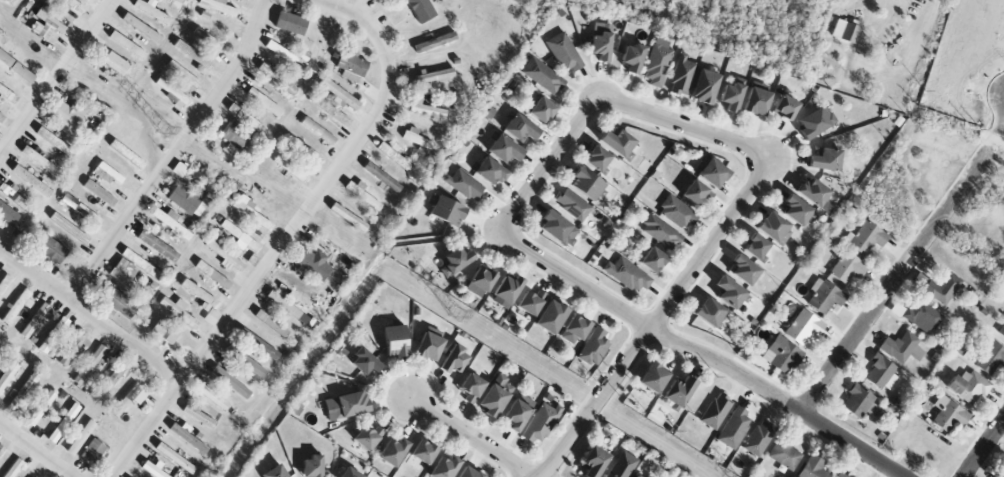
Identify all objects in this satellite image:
building: (376, 0)
building: (10, 1)
building: (74, 6)
building: (217, 6)
building: (152, 12)
road: (361, 19)
building: (45, 22)
building: (289, 23)
building: (140, 27)
building: (846, 30)
building: (206, 39)
building: (121, 41)
building: (433, 42)
building: (598, 45)
building: (563, 52)
building: (284, 55)
building: (193, 56)
building: (631, 57)
building: (657, 62)
building: (115, 63)
building: (350, 67)
building: (183, 75)
building: (542, 76)
road: (56, 77)
building: (431, 77)
building: (681, 77)
building: (703, 86)
building: (172, 92)
building: (8, 95)
building: (731, 95)
building: (339, 96)
road: (605, 100)
building: (754, 101)
building: (264, 102)
building: (783, 107)
building: (425, 109)
building: (540, 109)
building: (67, 115)
building: (241, 115)
building: (1, 117)
building: (814, 121)
road: (1002, 126)
building: (519, 128)
building: (318, 131)
power tower: (165, 133)
building: (234, 139)
building: (416, 139)
building: (55, 143)
building: (615, 143)
building: (503, 150)
building: (304, 151)
building: (126, 154)
road: (175, 154)
building: (395, 156)
building: (595, 158)
building: (823, 159)
building: (290, 169)
building: (489, 171)
building: (710, 173)
building: (106, 174)
building: (382, 177)
building: (31, 181)
building: (584, 183)
building: (463, 185)
building: (811, 191)
building: (695, 192)
building: (99, 193)
building: (363, 196)
building: (17, 201)
building: (189, 203)
building: (572, 205)
building: (81, 208)
building: (794, 209)
building: (249, 210)
building: (446, 211)
building: (676, 212)
building: (7, 215)
building: (347, 217)
building: (171, 223)
building: (68, 228)
building: (555, 228)
building: (772, 228)
building: (660, 232)
building: (865, 238)
building: (156, 246)
building: (753, 246)
building: (50, 249)
building: (224, 255)
building: (651, 259)
building: (454, 260)
building: (313, 264)
building: (847, 268)
building: (741, 269)
road: (263, 272)
building: (626, 275)
building: (126, 278)
building: (480, 279)
road: (895, 280)
building: (3, 283)
building: (942, 288)
building: (505, 291)
building: (726, 291)
building: (824, 297)
building: (118, 302)
building: (528, 302)
building: (282, 304)
building: (16, 307)
building: (177, 311)
building: (707, 312)
road: (90, 316)
building: (921, 316)
power tower: (457, 317)
building: (548, 317)
road: (658, 320)
building: (35, 322)
building: (270, 324)
building: (802, 327)
building: (572, 330)
building: (1001, 330)
building: (165, 332)
building: (55, 334)
building: (392, 341)
building: (428, 343)
building: (260, 347)
building: (593, 347)
building: (901, 347)
building: (73, 349)
road: (700, 355)
building: (780, 355)
building: (989, 358)
building: (452, 359)
building: (244, 361)
building: (363, 361)
building: (89, 365)
building: (878, 372)
building: (7, 374)
building: (651, 378)
building: (229, 380)
building: (110, 381)
building: (966, 386)
building: (470, 387)
building: (24, 391)
building: (677, 391)
building: (494, 395)
building: (212, 397)
building: (128, 400)
building: (859, 403)
building: (344, 405)
building: (40, 408)
building: (517, 411)
building: (715, 411)
building: (197, 414)
building: (947, 414)
building: (540, 423)
building: (60, 427)
building: (733, 428)
building: (186, 436)
building: (366, 437)
building: (80, 438)
building: (758, 438)
road: (470, 439)
building: (1, 450)
road: (36, 450)
road: (985, 450)
building: (391, 451)
building: (421, 451)
building: (91, 452)
building: (784, 456)
building: (174, 458)
building: (592, 461)
building: (621, 465)
building: (309, 466)
building: (442, 467)
building: (13, 468)
building: (812, 468)
building: (150, 470)
building: (273, 472)
building: (466, 472)
building: (348, 473)
building: (839, 475)
building: (999, 475)
building: (634, 476)

